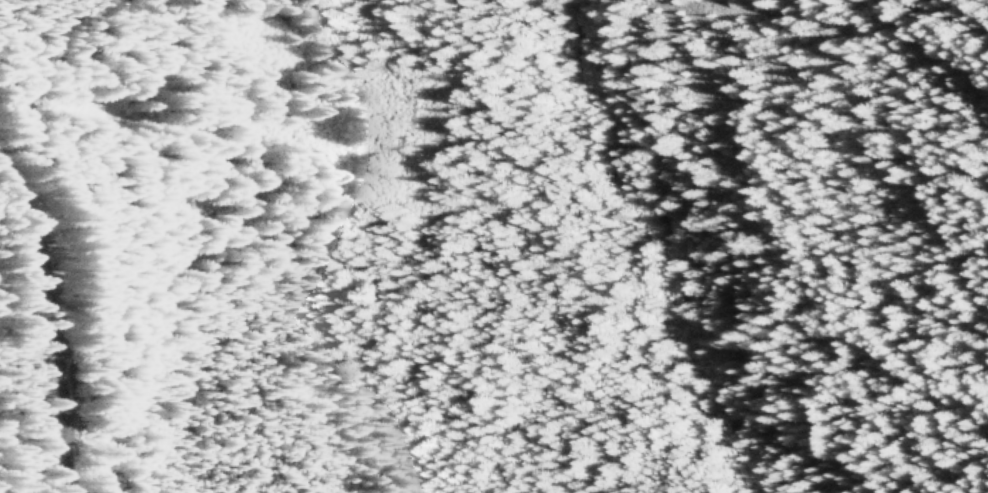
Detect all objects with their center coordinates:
road: (44, 346)

